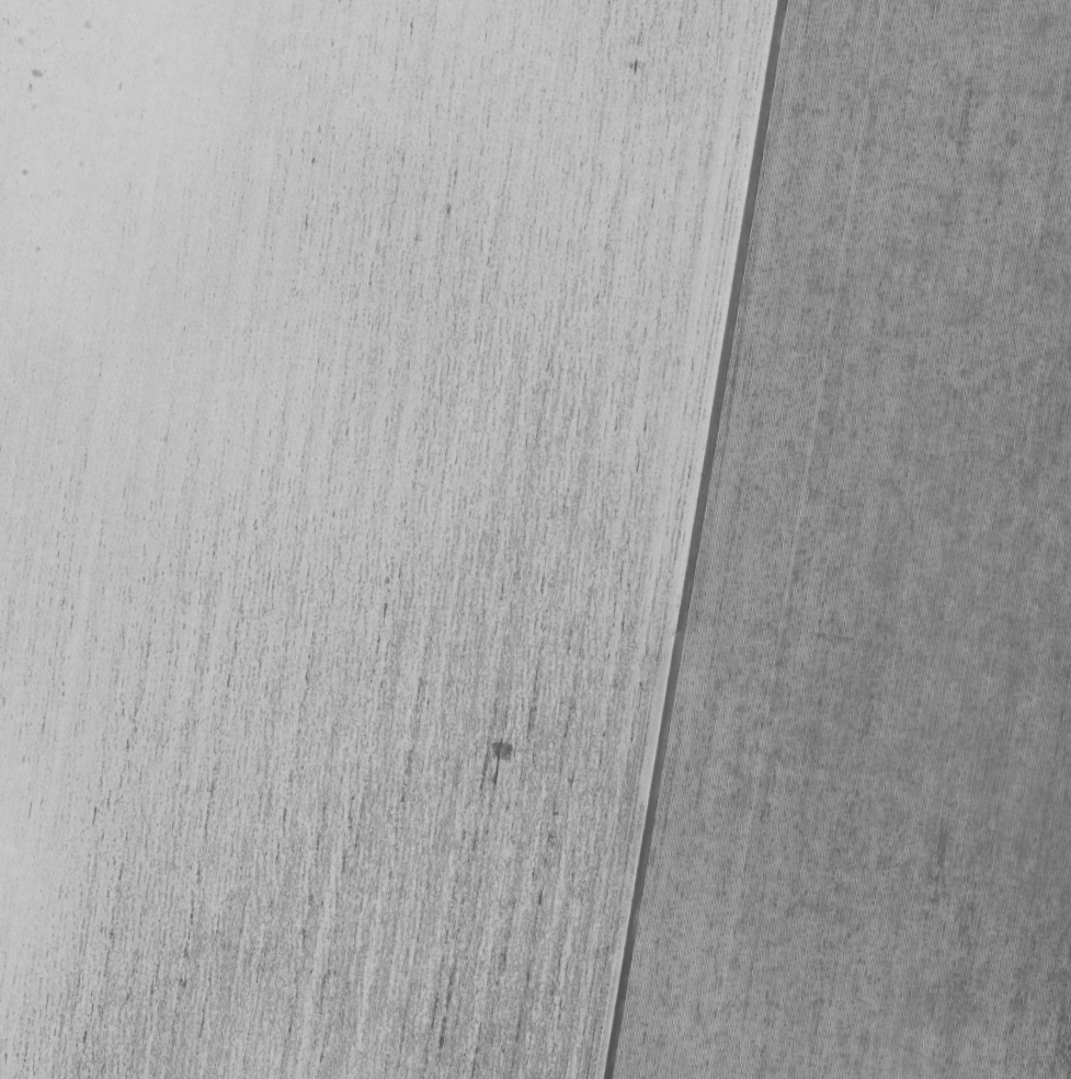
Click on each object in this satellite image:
crop: (535, 539)

